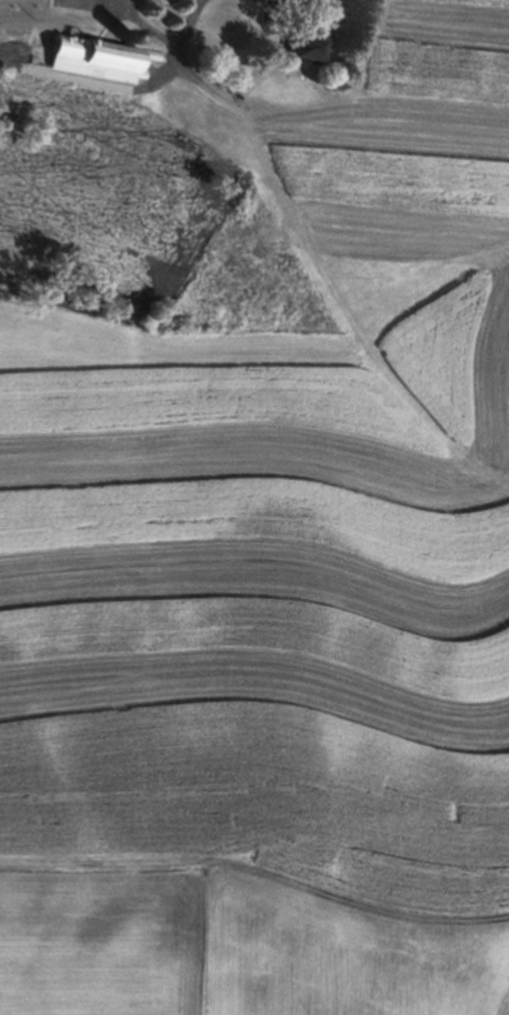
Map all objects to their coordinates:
building: (305, 43)
building: (90, 59)

